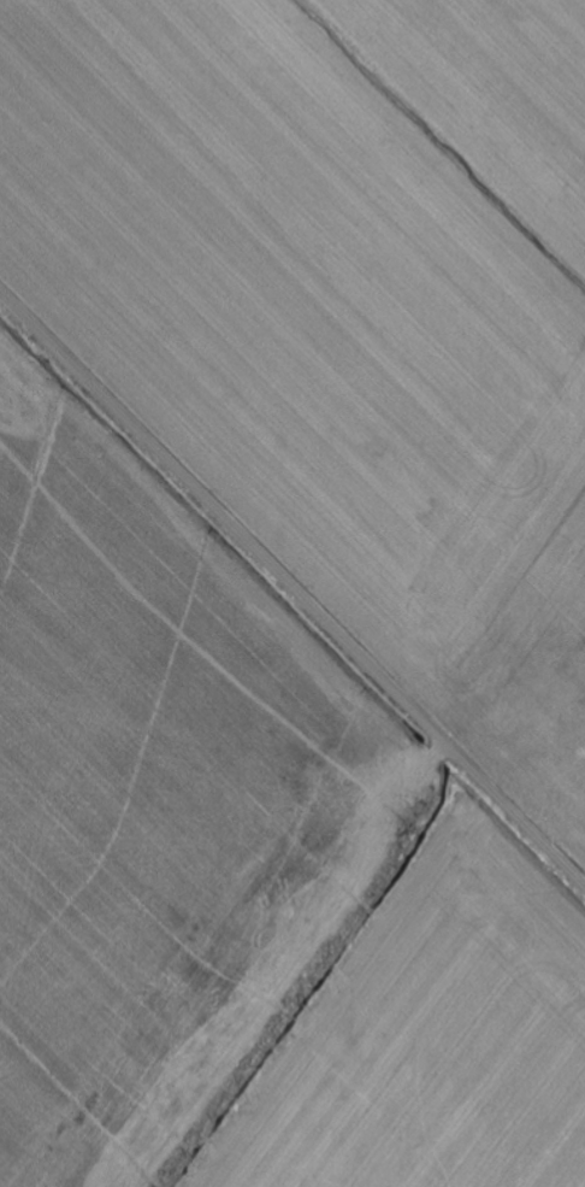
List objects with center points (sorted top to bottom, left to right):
road: (292, 587)

